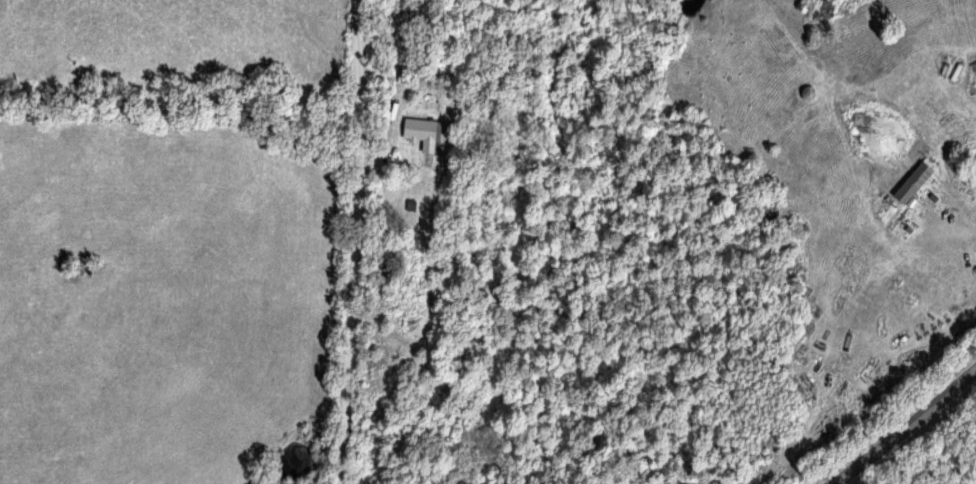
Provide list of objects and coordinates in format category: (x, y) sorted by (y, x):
building: (420, 134)
road: (389, 173)
road: (348, 242)
road: (901, 425)

